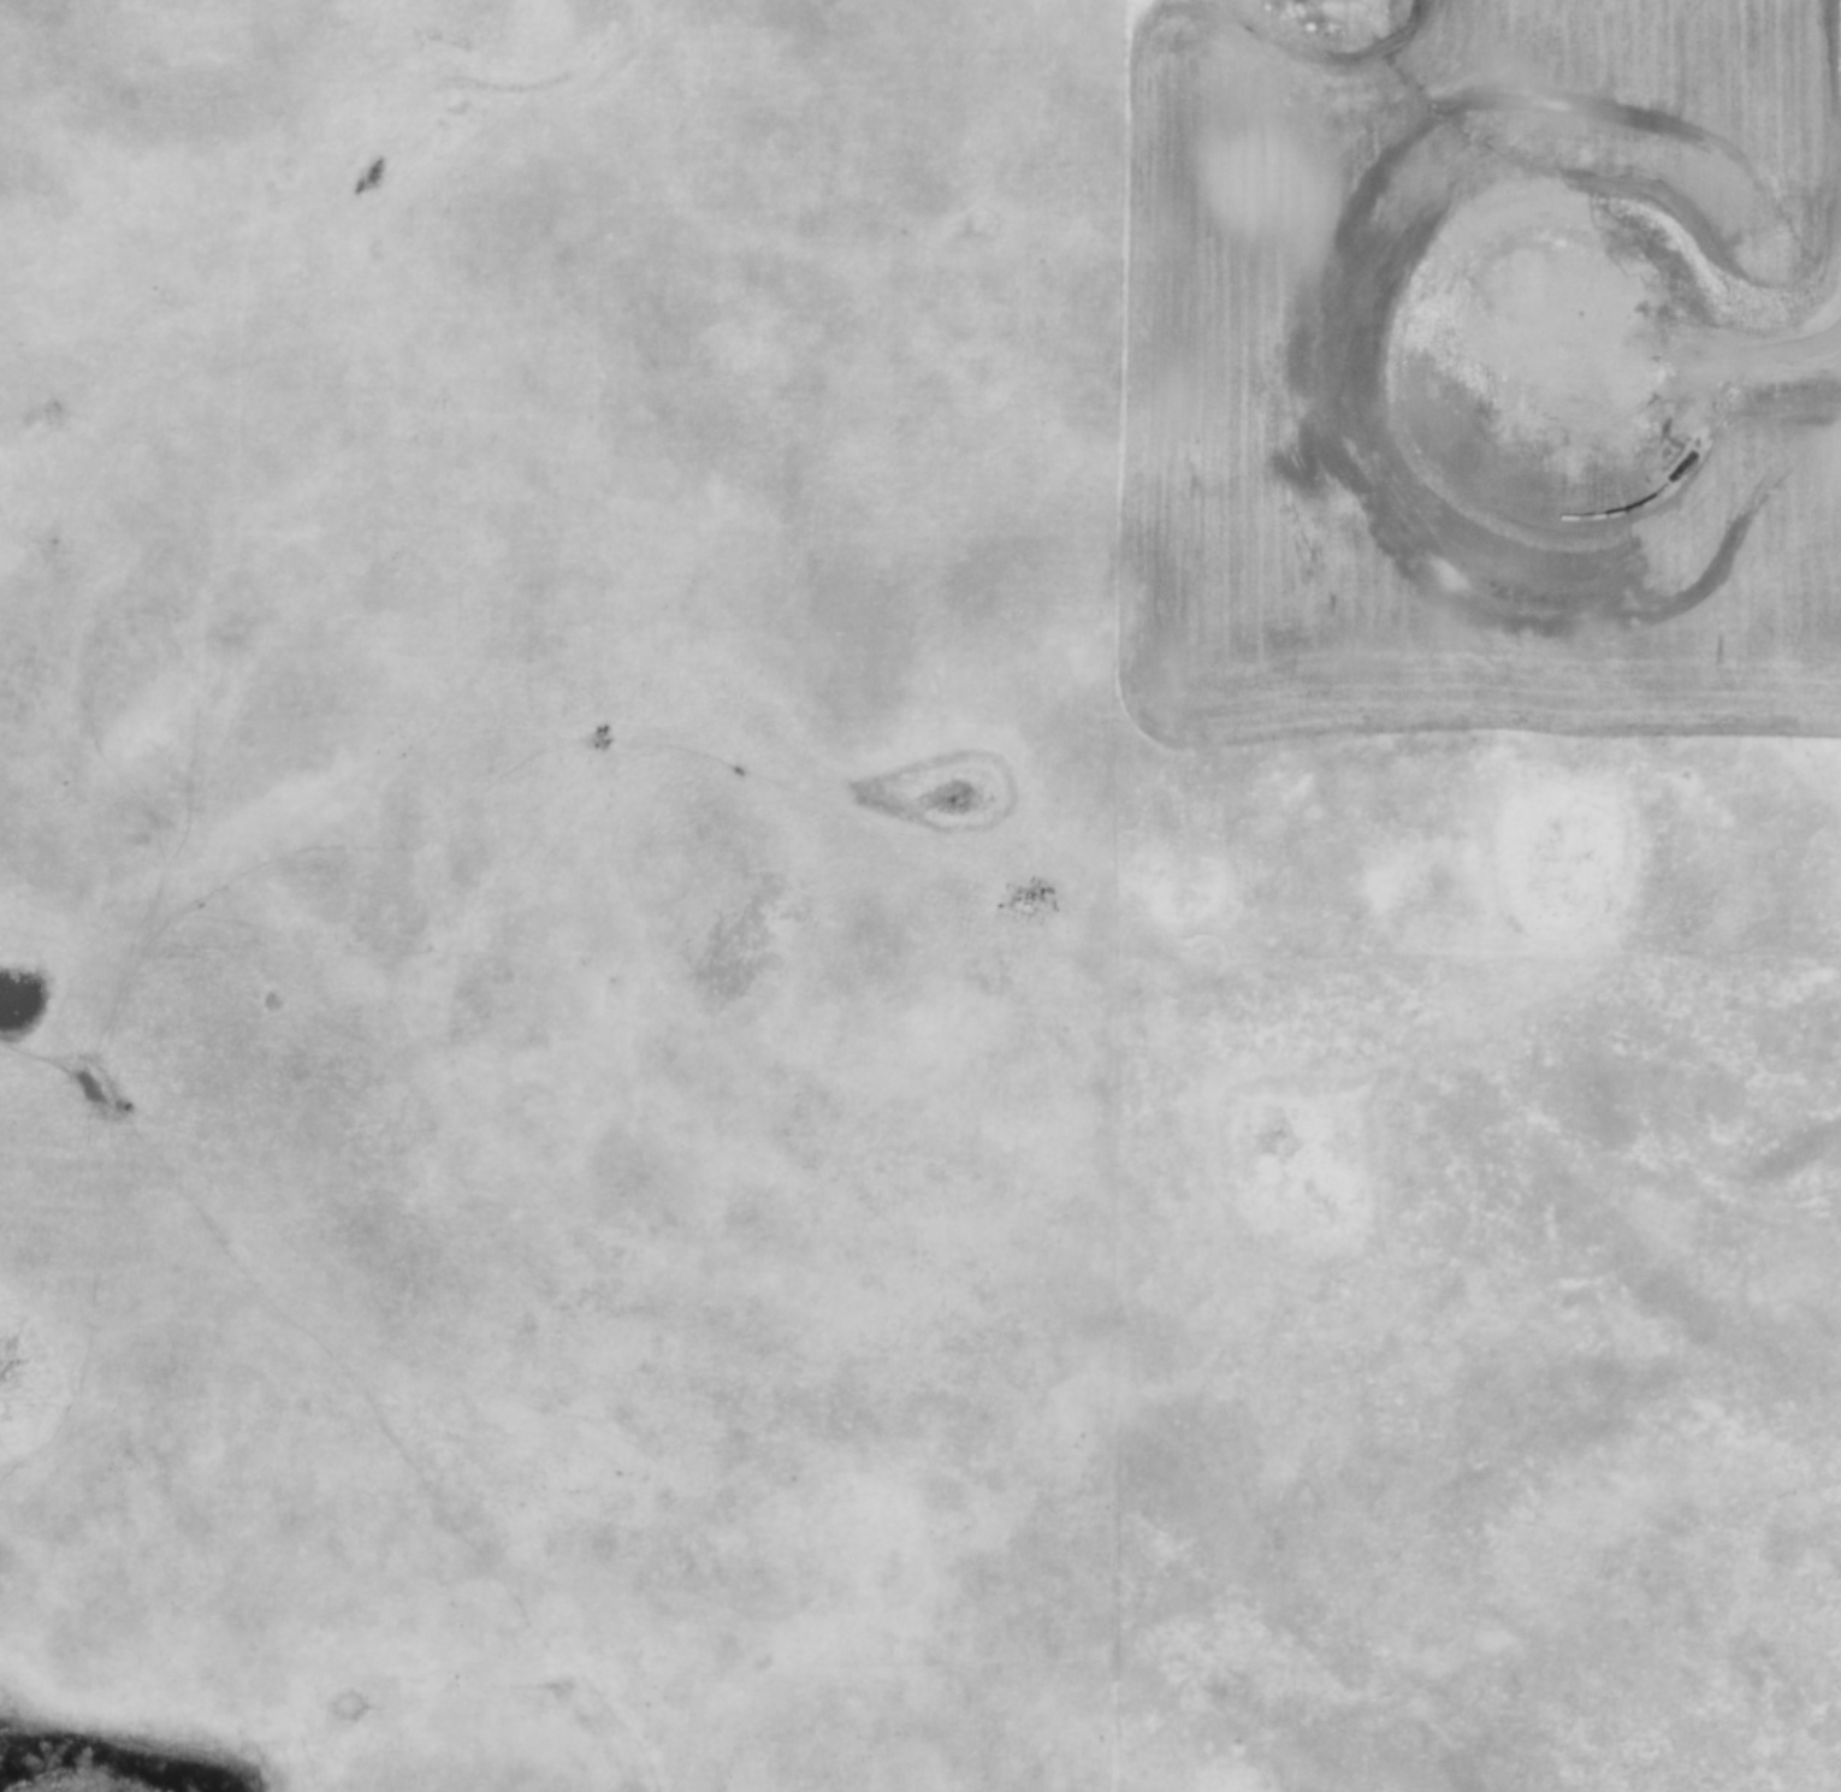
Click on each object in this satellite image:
wind turbine: (1577, 350)

